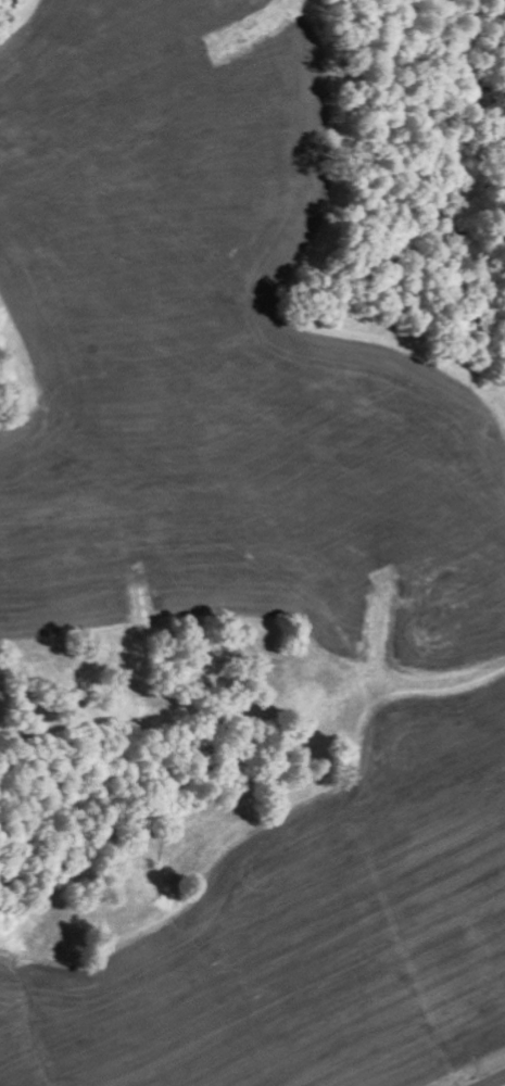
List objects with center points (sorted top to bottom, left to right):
road: (498, 1083)

